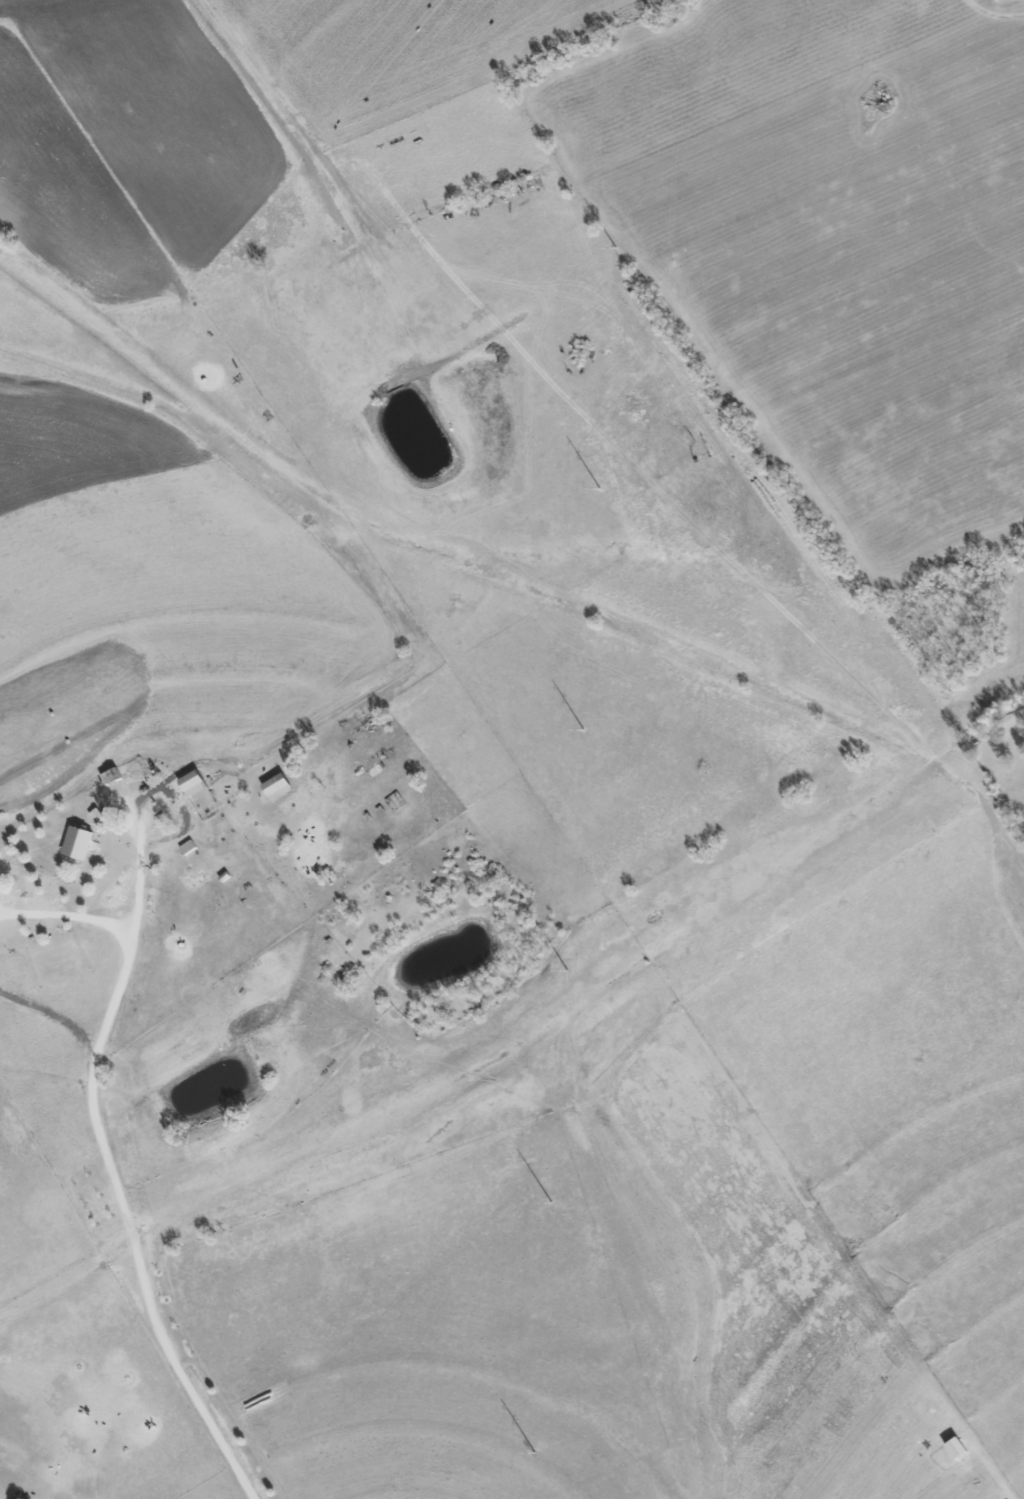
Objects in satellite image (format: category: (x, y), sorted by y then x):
power tower: (614, 248)
power tower: (599, 491)
power tower: (581, 731)
building: (194, 783)
building: (278, 786)
building: (79, 842)
building: (188, 847)
road: (68, 914)
power tower: (566, 972)
road: (99, 1131)
power tower: (549, 1203)
building: (957, 1447)
power tower: (533, 1453)

